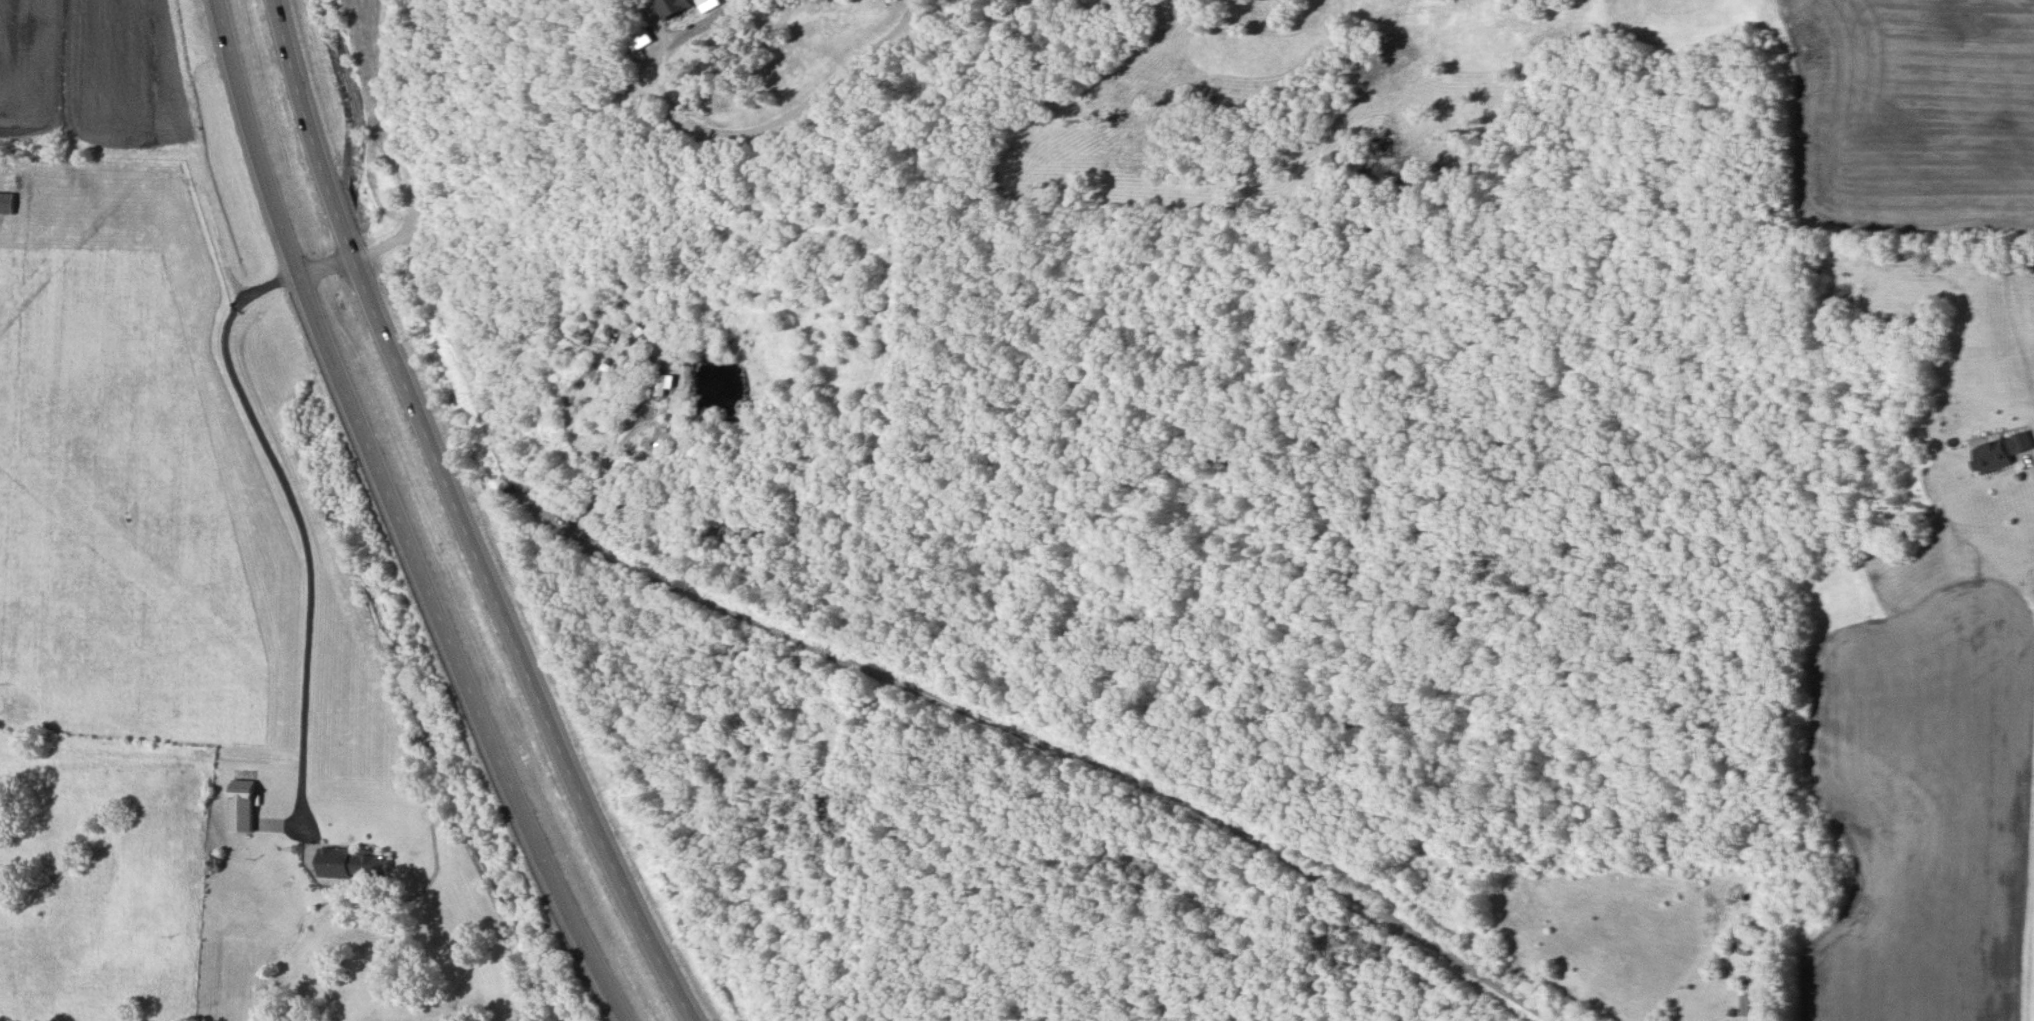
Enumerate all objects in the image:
building: (709, 5)
building: (674, 8)
building: (642, 41)
crop: (92, 76)
road: (791, 112)
road: (410, 145)
building: (7, 205)
airport runway: (65, 252)
road: (462, 350)
building: (2004, 453)
airport: (166, 488)
road: (289, 498)
road: (411, 519)
road: (474, 519)
airport runway: (184, 613)
road: (1029, 733)
building: (242, 795)
crop: (1923, 813)
building: (348, 864)
building: (1744, 947)
building: (1751, 1008)

